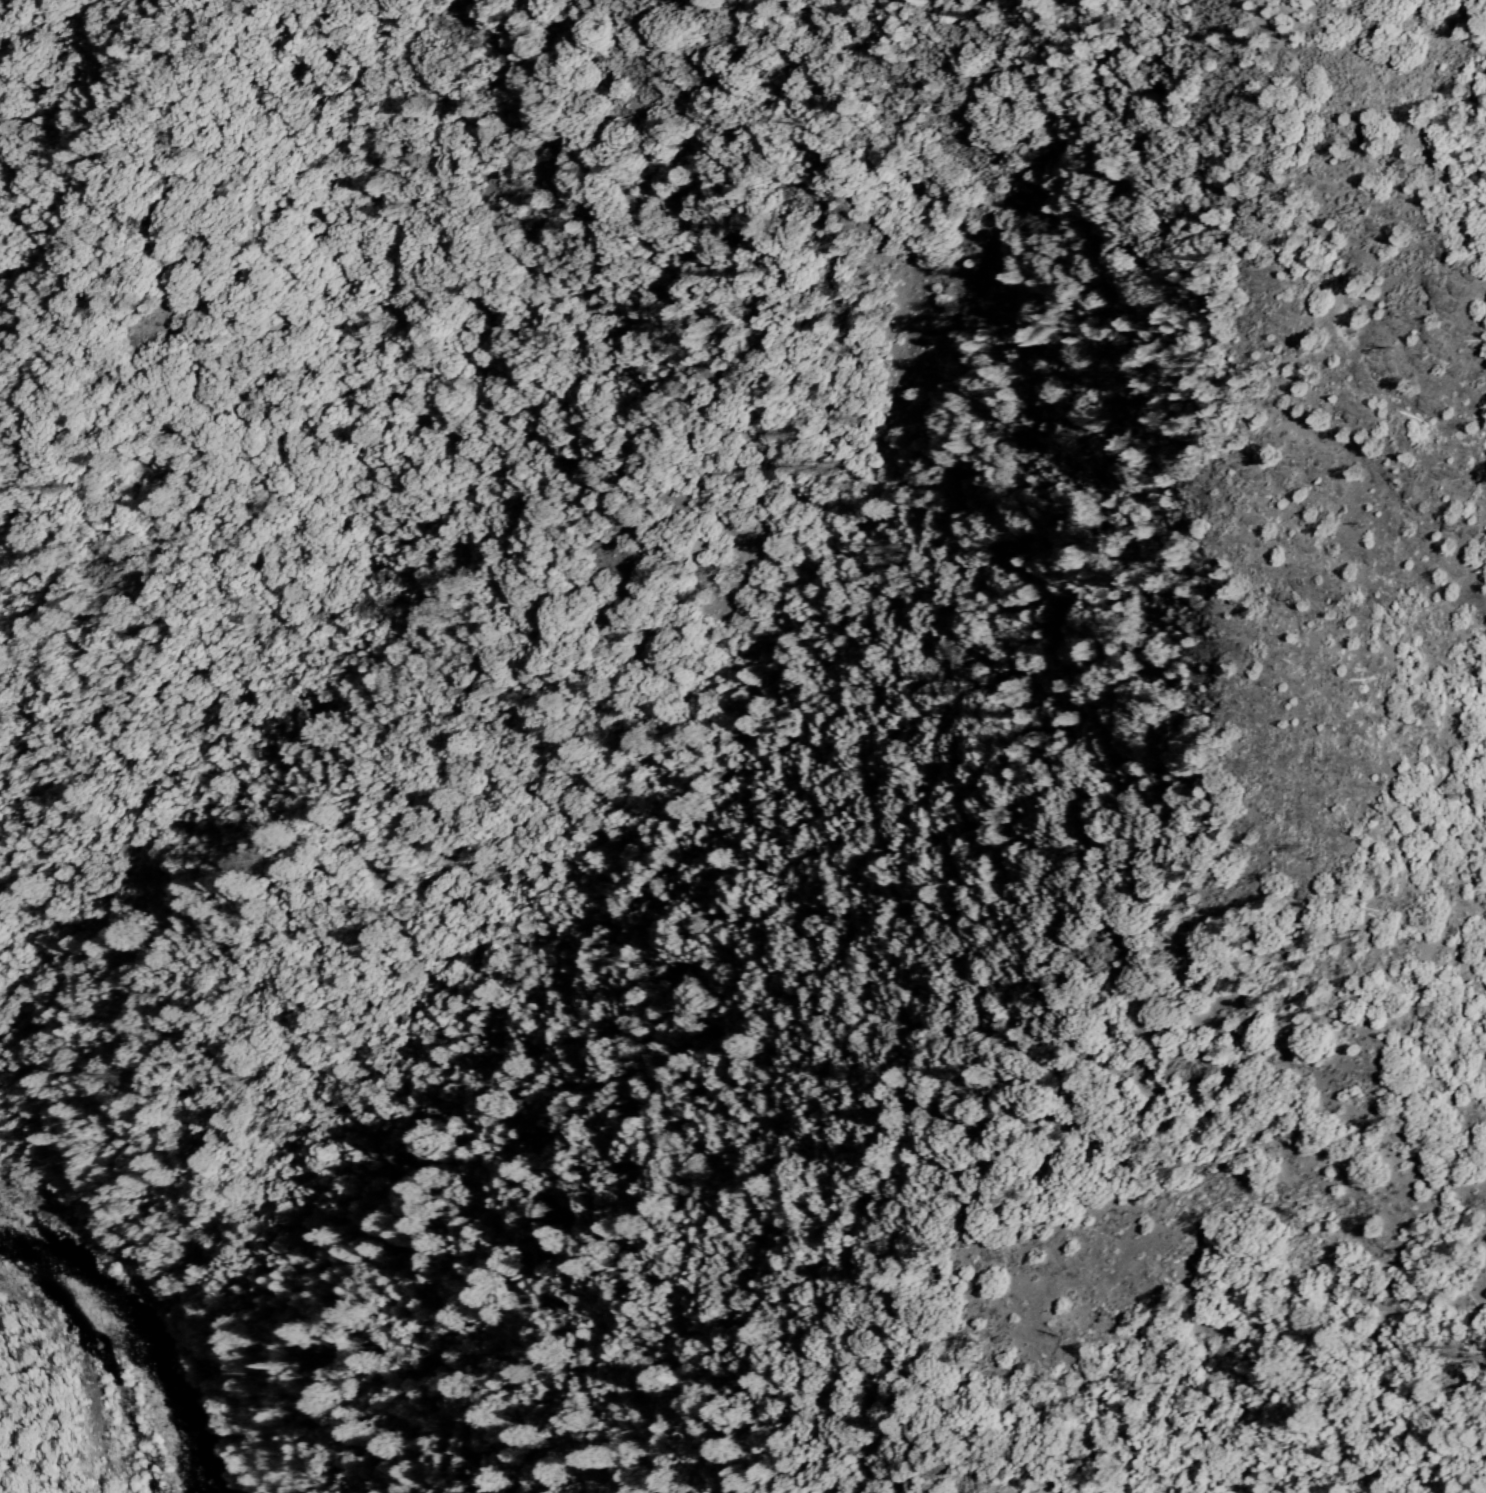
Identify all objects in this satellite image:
road: (276, 1201)
river: (75, 1315)
river: (120, 1367)
river: (184, 1431)

